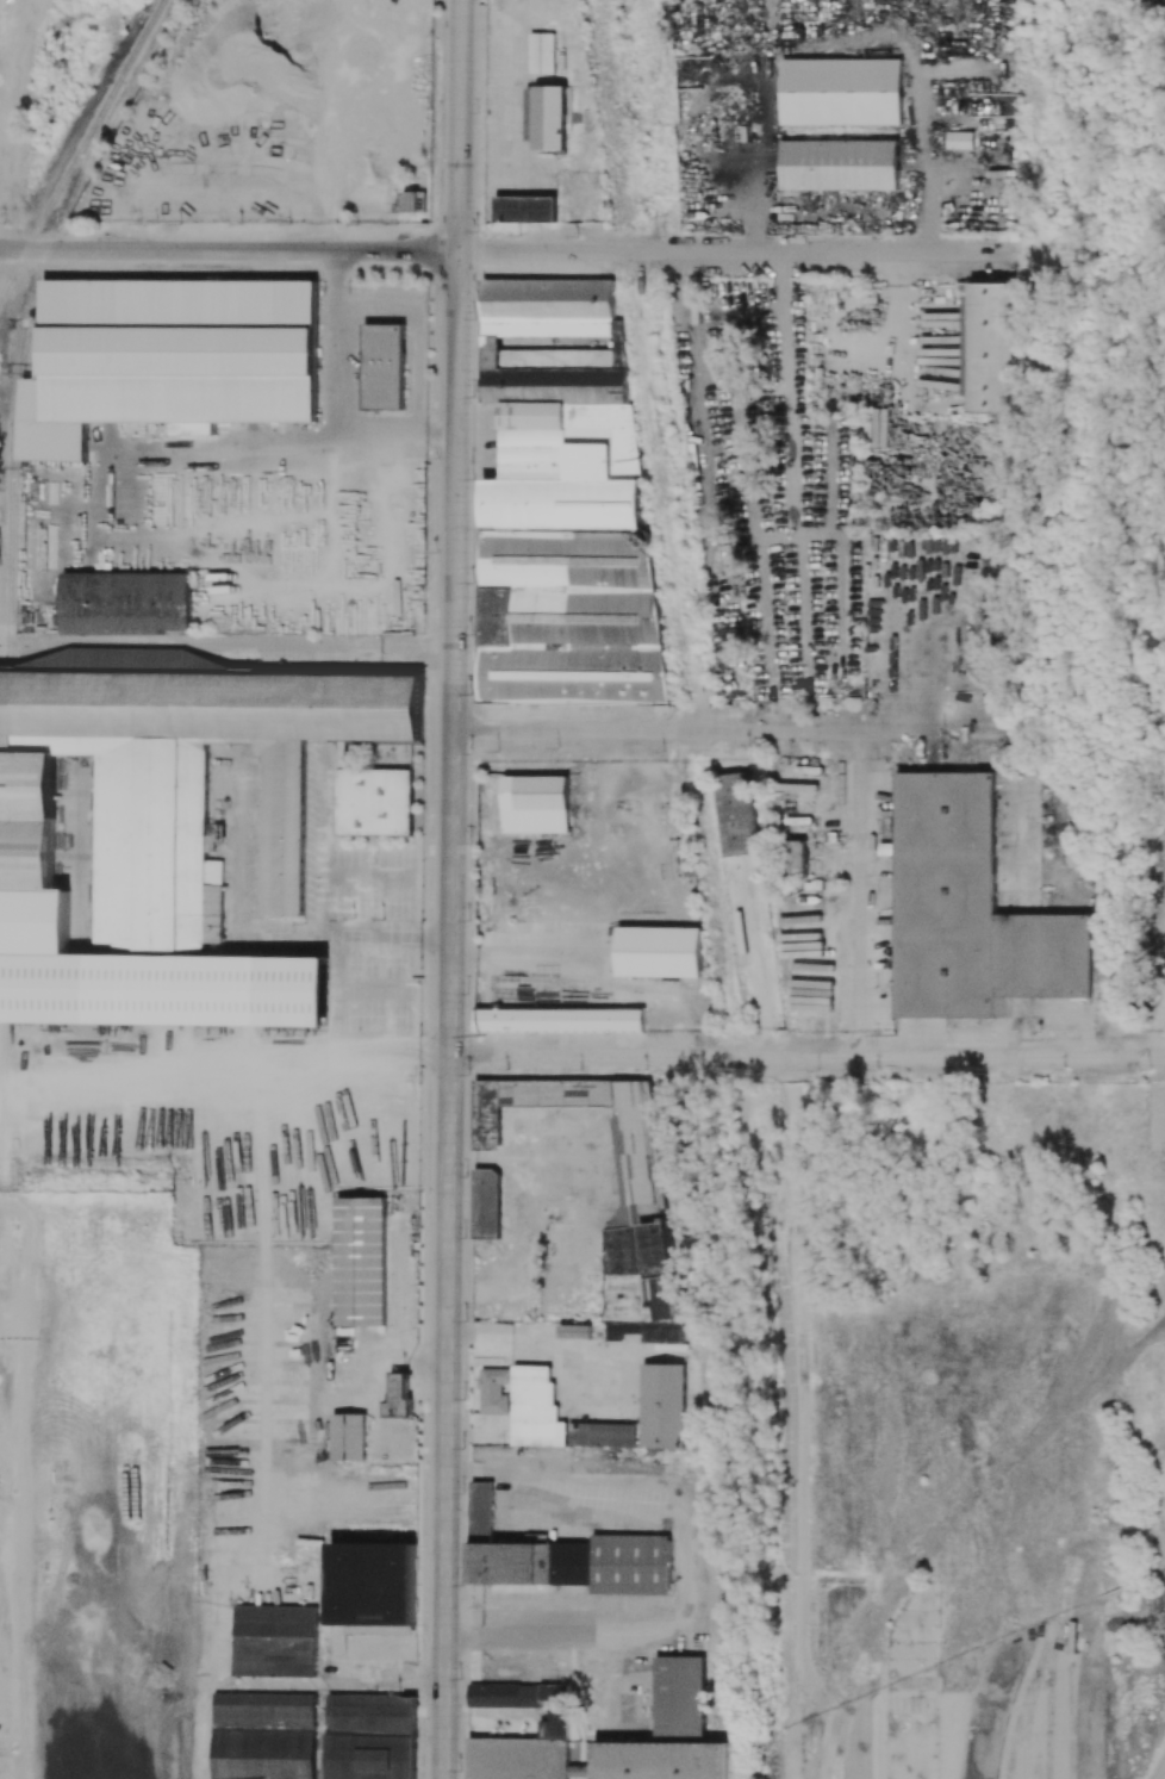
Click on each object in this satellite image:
road: (828, 41)
building: (541, 50)
railway: (132, 52)
building: (843, 89)
road: (12, 100)
building: (547, 114)
building: (960, 139)
building: (842, 163)
railway: (51, 200)
building: (413, 201)
building: (524, 207)
road: (841, 207)
road: (12, 214)
road: (1, 241)
road: (506, 250)
building: (988, 344)
building: (167, 357)
building: (384, 366)
railway: (14, 378)
road: (324, 404)
building: (563, 505)
building: (125, 603)
road: (236, 642)
road: (727, 730)
building: (628, 777)
building: (374, 802)
building: (535, 804)
building: (735, 814)
building: (167, 831)
building: (795, 853)
road: (859, 871)
road: (323, 872)
road: (450, 889)
road: (237, 890)
building: (970, 910)
building: (659, 951)
road: (339, 991)
building: (559, 1020)
power tower: (482, 1031)
power tower: (899, 1032)
road: (856, 1033)
road: (806, 1057)
road: (172, 1089)
building: (610, 1181)
power tower: (179, 1186)
building: (486, 1202)
building: (360, 1261)
building: (649, 1332)
building: (494, 1391)
building: (398, 1397)
building: (664, 1405)
building: (535, 1408)
building: (602, 1433)
building: (348, 1436)
road: (472, 1469)
road: (605, 1479)
road: (23, 1482)
road: (581, 1516)
building: (567, 1557)
building: (372, 1587)
road: (611, 1631)
building: (274, 1640)
building: (504, 1694)
building: (680, 1697)
building: (263, 1736)
building: (369, 1736)
building: (527, 1747)
building: (659, 1760)

